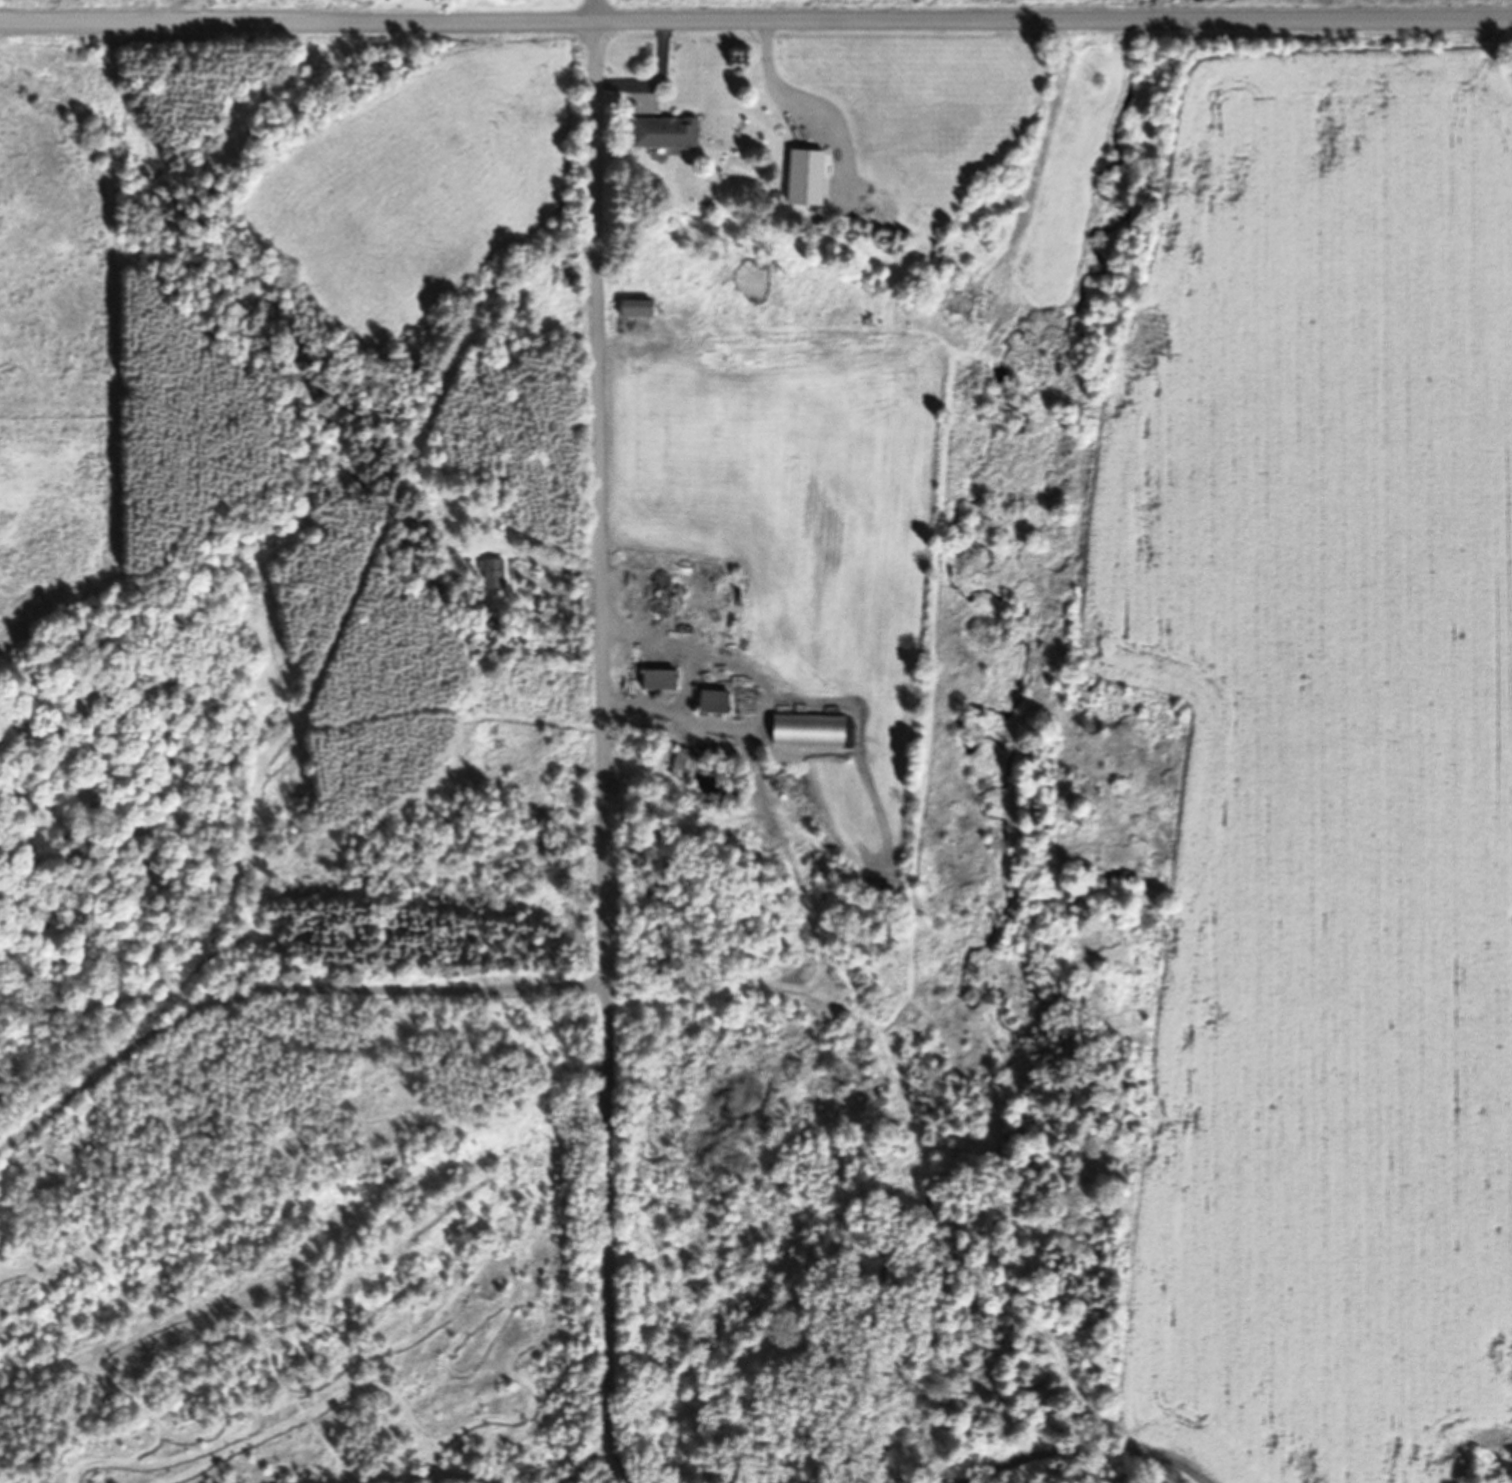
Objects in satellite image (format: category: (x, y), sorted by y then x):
road: (756, 19)
building: (660, 132)
building: (801, 177)
building: (961, 305)
building: (630, 308)
building: (489, 573)
building: (642, 587)
building: (655, 678)
building: (708, 701)
road: (601, 747)
building: (682, 762)
quarry: (311, 1233)

